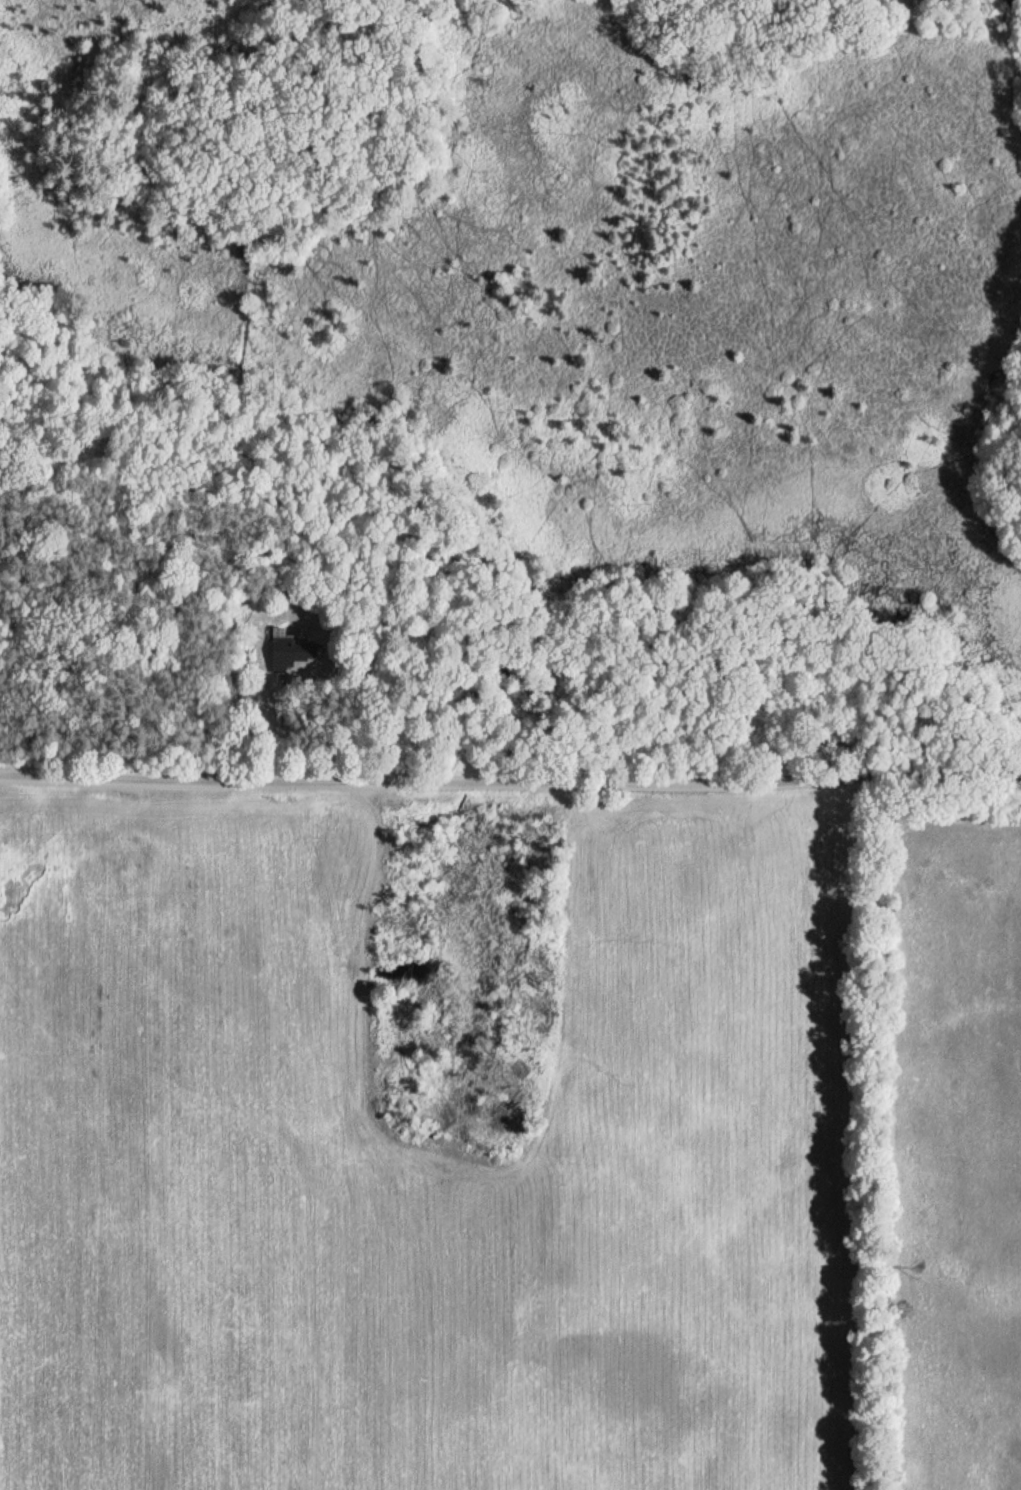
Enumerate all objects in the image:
building: (293, 652)
road: (510, 756)
crop: (955, 1147)
crop: (417, 1162)

